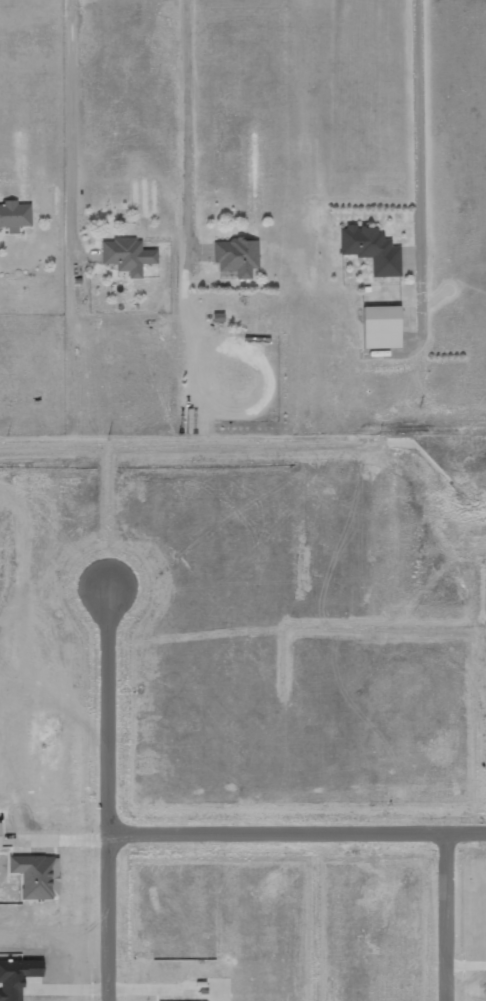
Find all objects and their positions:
building: (14, 216)
building: (371, 250)
building: (123, 256)
building: (381, 328)
road: (111, 794)
road: (298, 832)
road: (449, 916)

